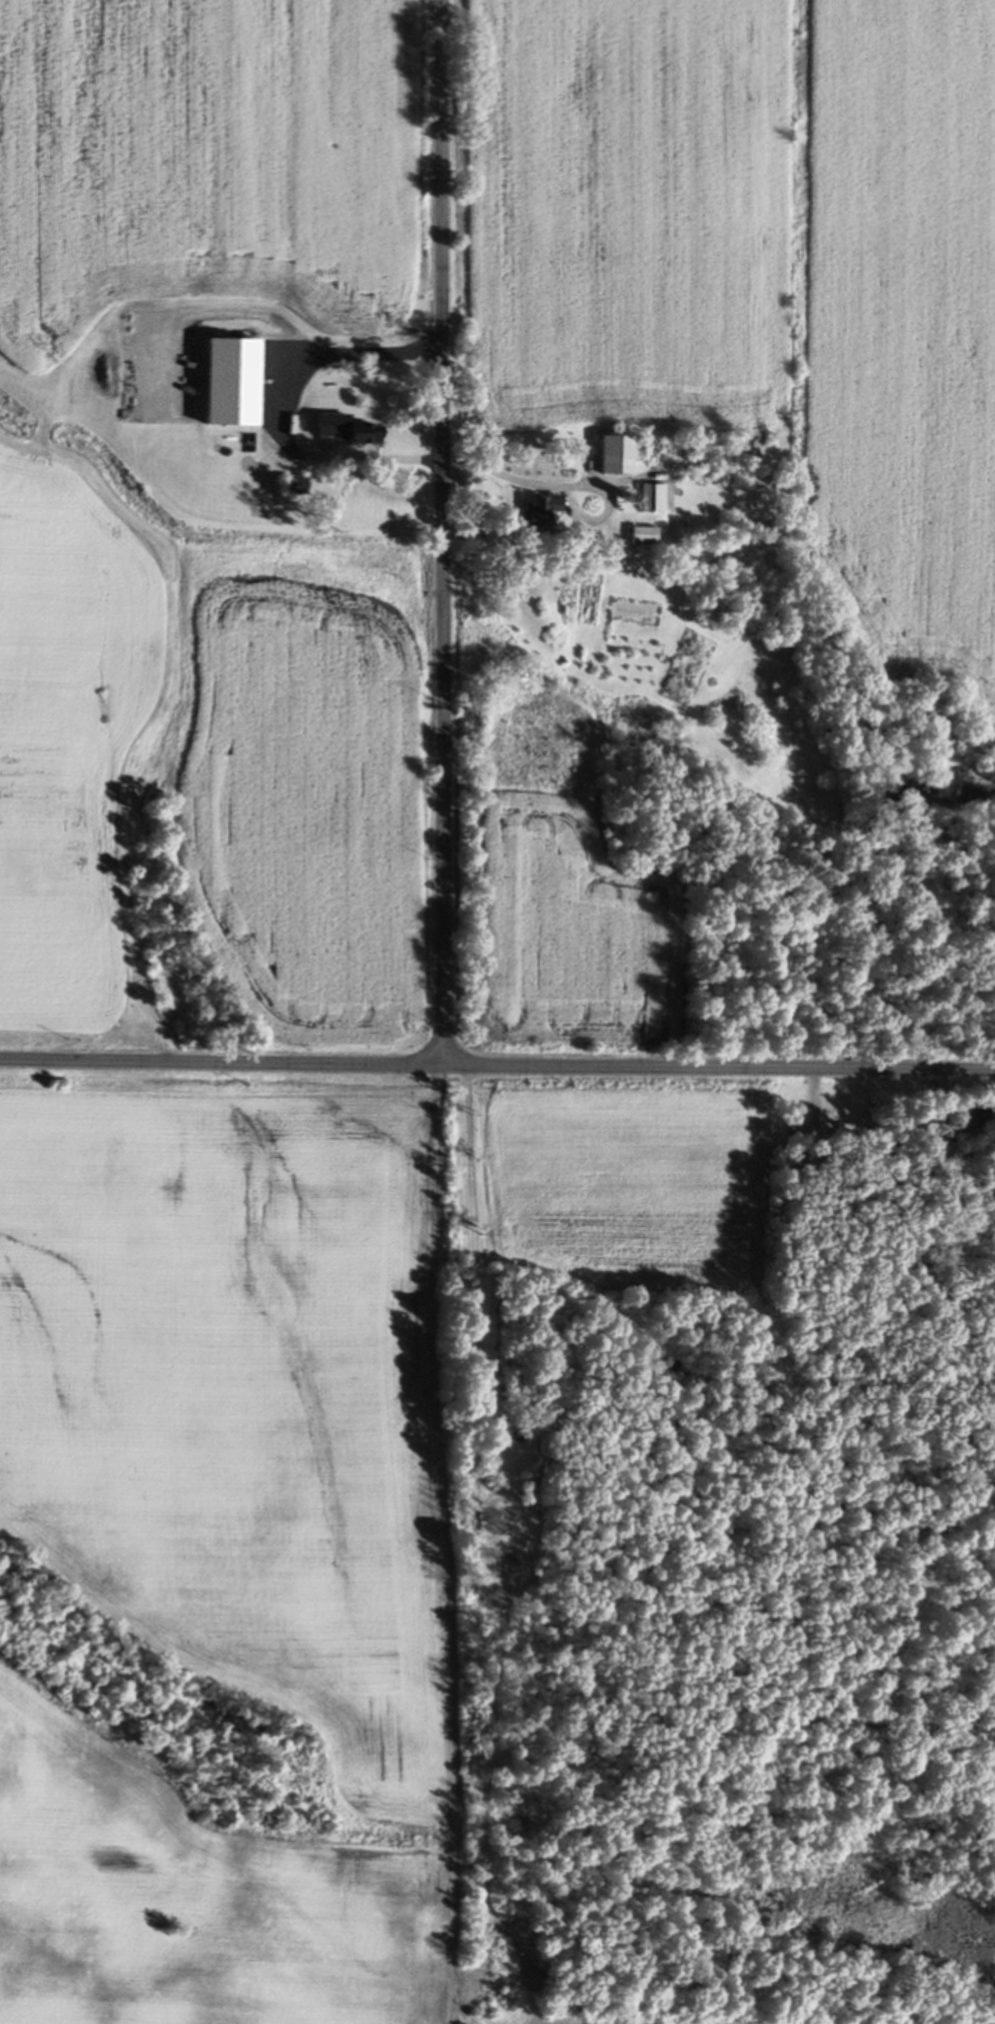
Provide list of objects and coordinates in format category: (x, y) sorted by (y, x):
building: (307, 384)
road: (272, 411)
building: (355, 434)
building: (612, 456)
building: (688, 483)
road: (564, 486)
building: (291, 487)
building: (643, 500)
building: (536, 515)
road: (440, 531)
building: (640, 537)
building: (634, 614)
road: (497, 1064)

